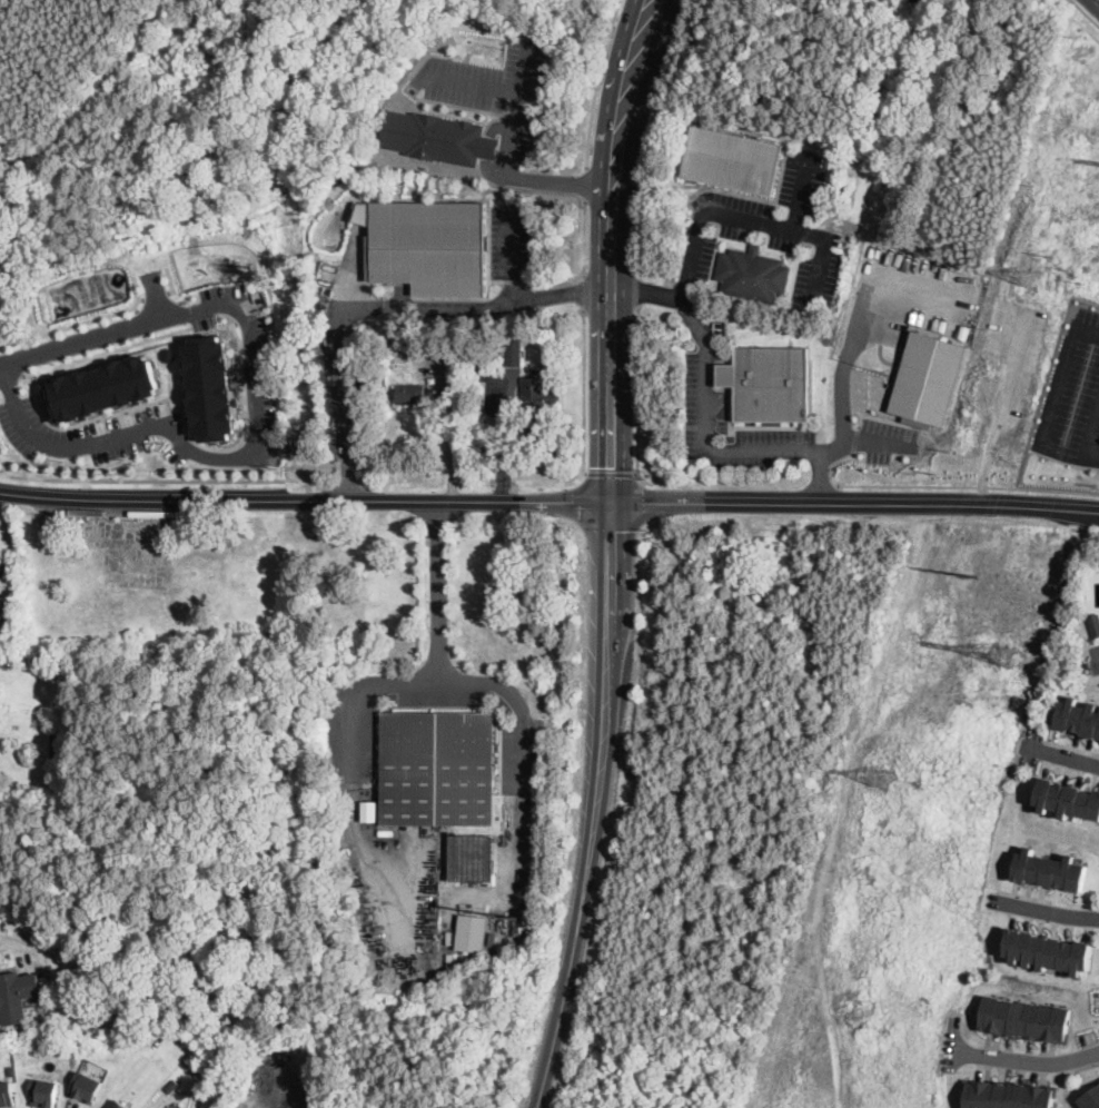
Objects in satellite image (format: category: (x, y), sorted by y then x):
road: (1096, 2)
road: (1086, 12)
road: (526, 67)
road: (595, 82)
parking lot: (493, 88)
road: (509, 89)
building: (222, 90)
road: (648, 133)
building: (437, 136)
road: (485, 147)
building: (730, 160)
road: (552, 182)
road: (585, 184)
road: (531, 188)
road: (799, 192)
road: (752, 218)
parking lot: (784, 222)
road: (584, 237)
parking lot: (509, 238)
building: (427, 244)
road: (612, 248)
parking lot: (696, 251)
road: (512, 253)
power tower: (1065, 266)
building: (752, 274)
power tower: (1026, 276)
road: (170, 279)
road: (637, 290)
road: (583, 293)
road: (160, 294)
road: (156, 295)
road: (669, 295)
road: (140, 298)
road: (382, 306)
road: (83, 320)
building: (531, 333)
building: (396, 348)
road: (106, 350)
road: (845, 354)
building: (512, 355)
parking lot: (246, 362)
building: (478, 362)
road: (1, 364)
road: (723, 375)
building: (725, 375)
road: (10, 377)
building: (928, 377)
building: (772, 384)
building: (102, 387)
building: (210, 387)
building: (536, 392)
building: (414, 393)
parking lot: (1073, 395)
road: (584, 398)
road: (637, 398)
road: (155, 400)
parking lot: (700, 404)
road: (254, 416)
road: (1050, 419)
road: (452, 429)
parking lot: (92, 432)
parking lot: (884, 438)
road: (854, 439)
road: (870, 439)
road: (831, 444)
road: (705, 452)
road: (1093, 457)
road: (831, 465)
road: (611, 472)
road: (821, 478)
road: (141, 479)
road: (968, 486)
road: (548, 499)
traffic signals: (611, 501)
road: (577, 503)
road: (642, 503)
road: (610, 527)
road: (1085, 528)
building: (0, 561)
power tower: (974, 573)
road: (437, 590)
building: (1093, 622)
power tower: (999, 653)
parking lot: (1095, 655)
road: (1096, 665)
building: (1079, 718)
building: (60, 746)
road: (1070, 746)
road: (1066, 756)
building: (437, 768)
power tower: (875, 775)
building: (1067, 798)
road: (594, 807)
building: (368, 810)
building: (471, 857)
building: (1050, 869)
road: (511, 890)
road: (1049, 900)
road: (1044, 910)
building: (474, 933)
road: (10, 939)
building: (1048, 950)
building: (83, 987)
building: (17, 996)
building: (1024, 1018)
road: (1030, 1059)
road: (1087, 1065)
building: (11, 1068)
building: (86, 1086)
building: (170, 1086)
building: (42, 1091)
building: (6, 1092)
building: (1007, 1094)
building: (1091, 1098)
building: (119, 1104)

